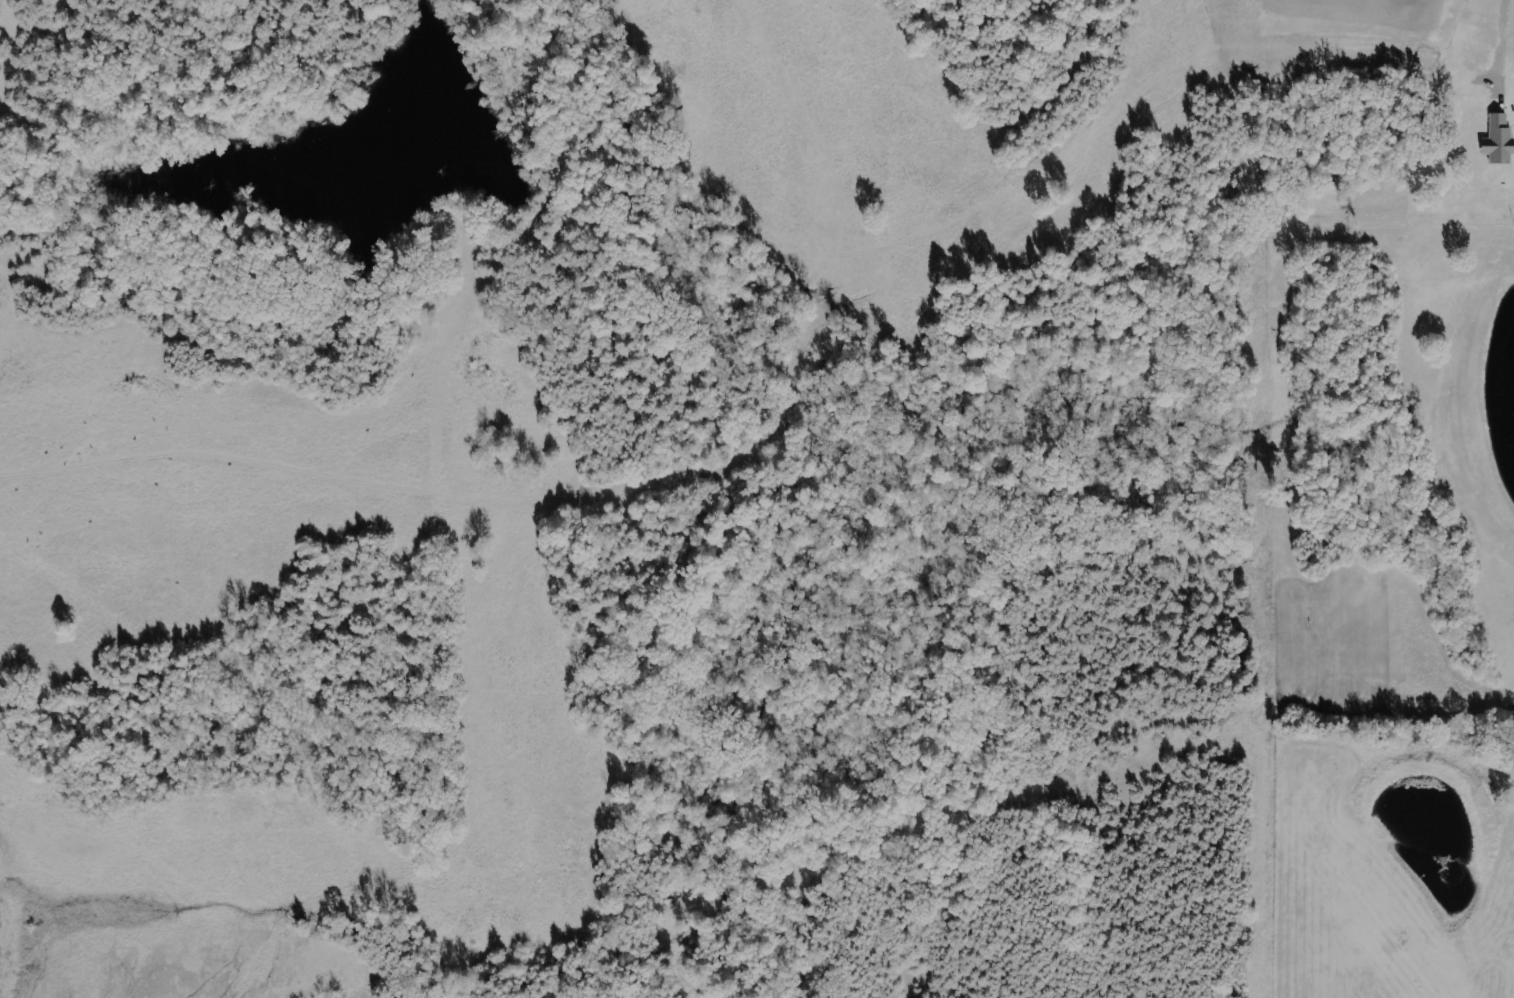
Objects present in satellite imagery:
building: (1500, 132)

